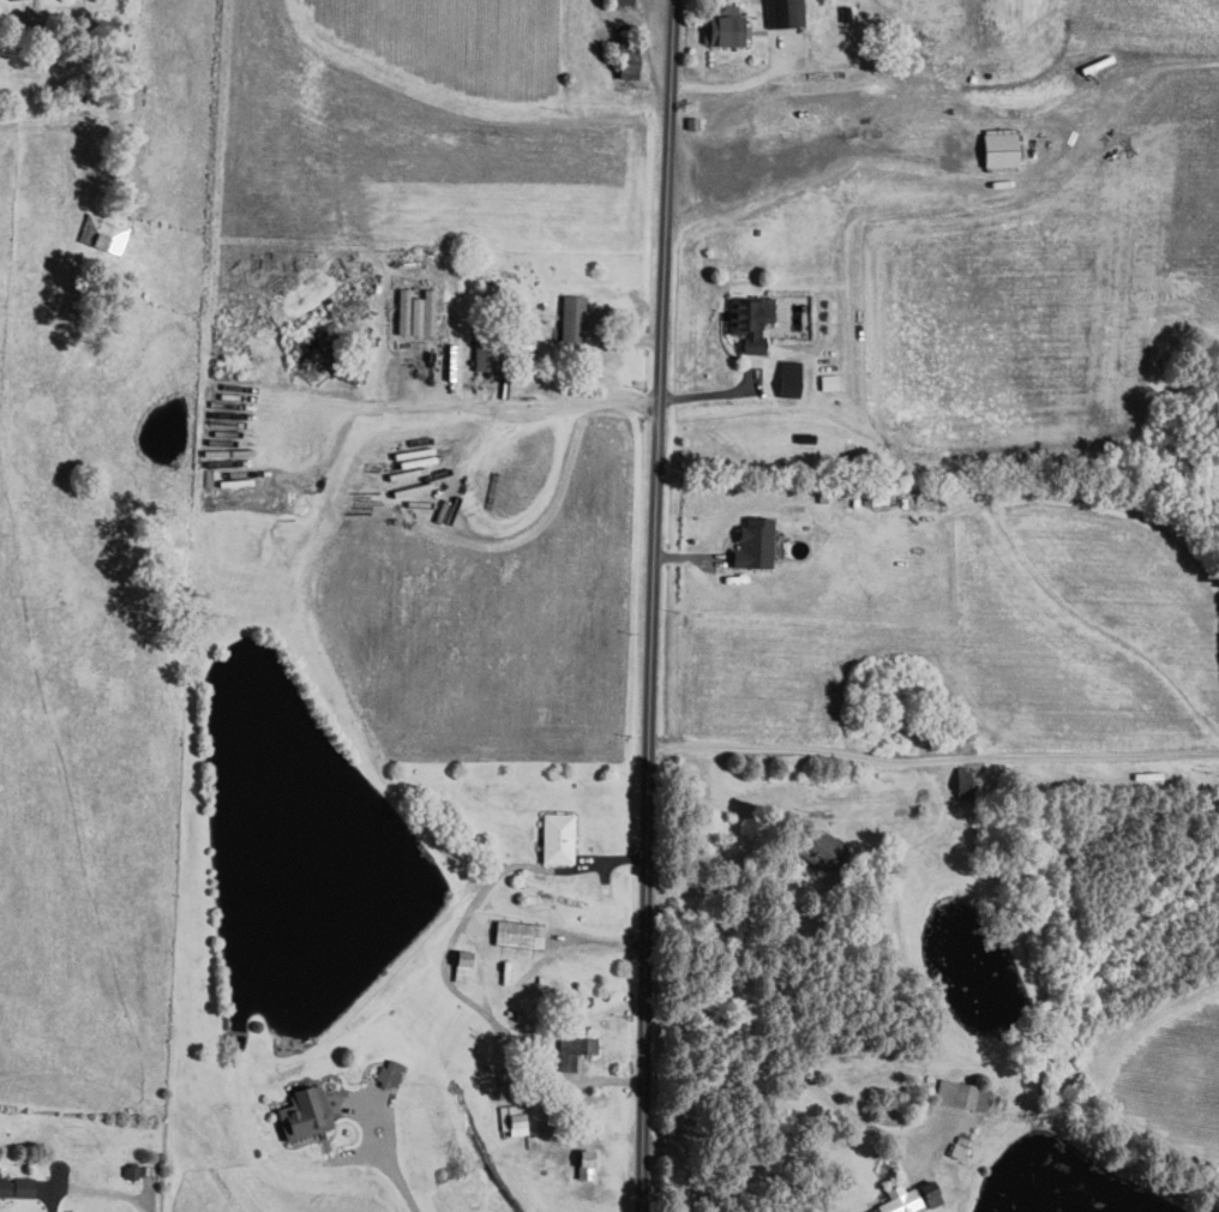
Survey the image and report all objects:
building: (621, 1)
building: (785, 12)
building: (722, 30)
building: (627, 67)
road: (735, 86)
building: (999, 146)
building: (102, 233)
building: (403, 311)
building: (572, 317)
building: (751, 319)
road: (586, 349)
building: (486, 354)
building: (789, 378)
building: (829, 380)
road: (711, 391)
road: (570, 407)
building: (755, 544)
road: (651, 605)
road: (932, 757)
building: (962, 781)
building: (558, 838)
building: (818, 847)
road: (732, 888)
building: (518, 932)
building: (463, 965)
building: (574, 1050)
building: (390, 1073)
road: (785, 1080)
building: (961, 1094)
building: (305, 1112)
building: (512, 1117)
building: (586, 1163)
building: (133, 1171)
road: (396, 1176)
building: (24, 1187)
road: (148, 1193)
building: (931, 1193)
road: (55, 1200)
building: (901, 1200)

